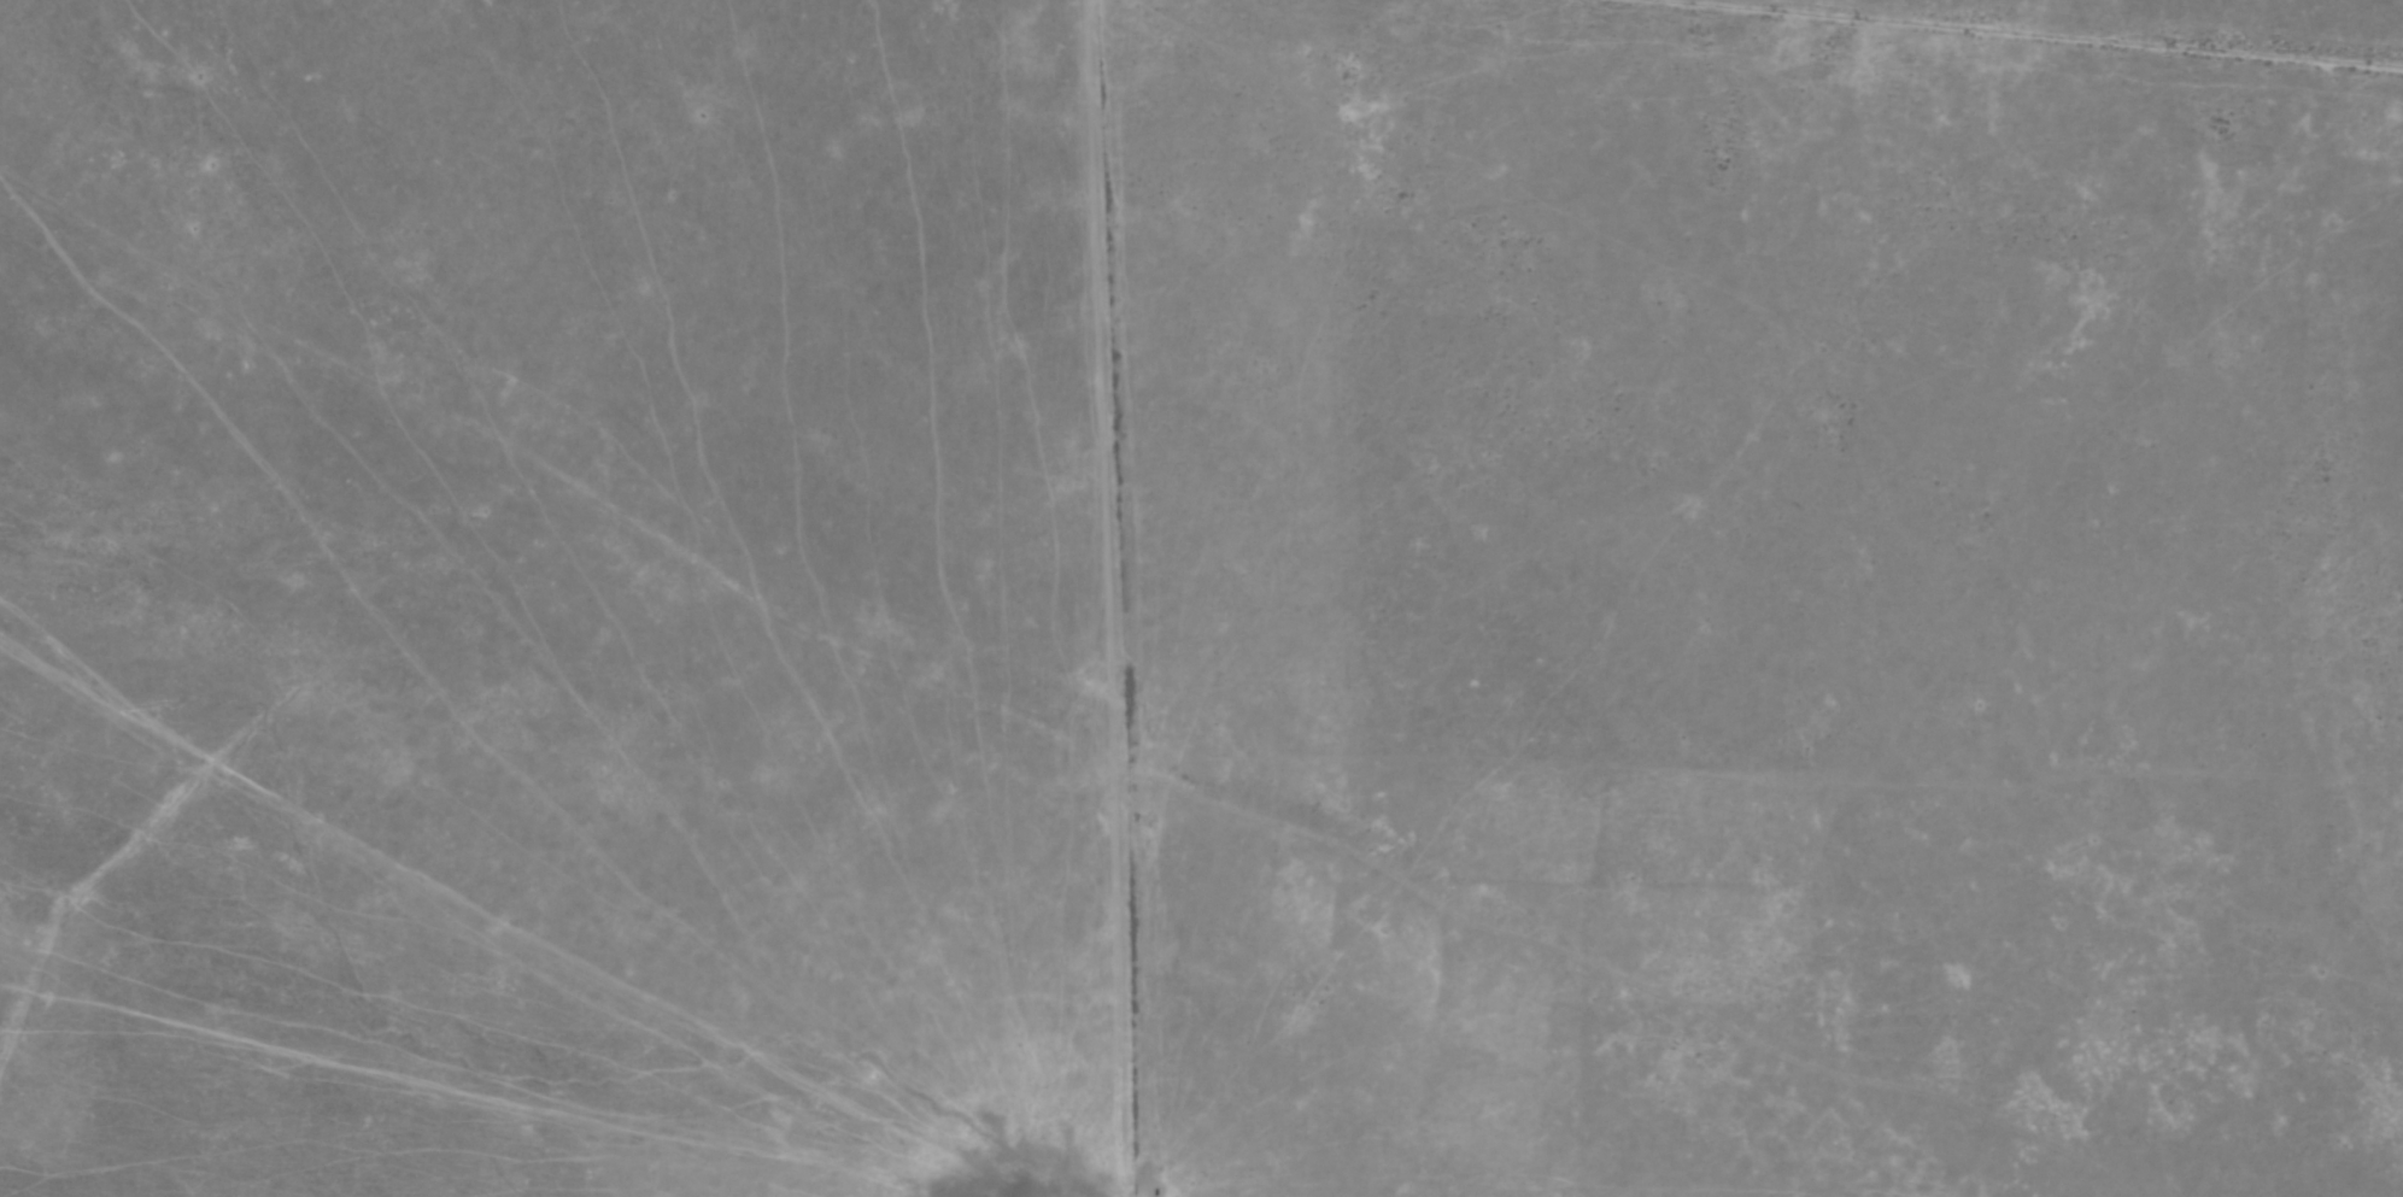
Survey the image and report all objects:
road: (1100, 387)
road: (1038, 733)

